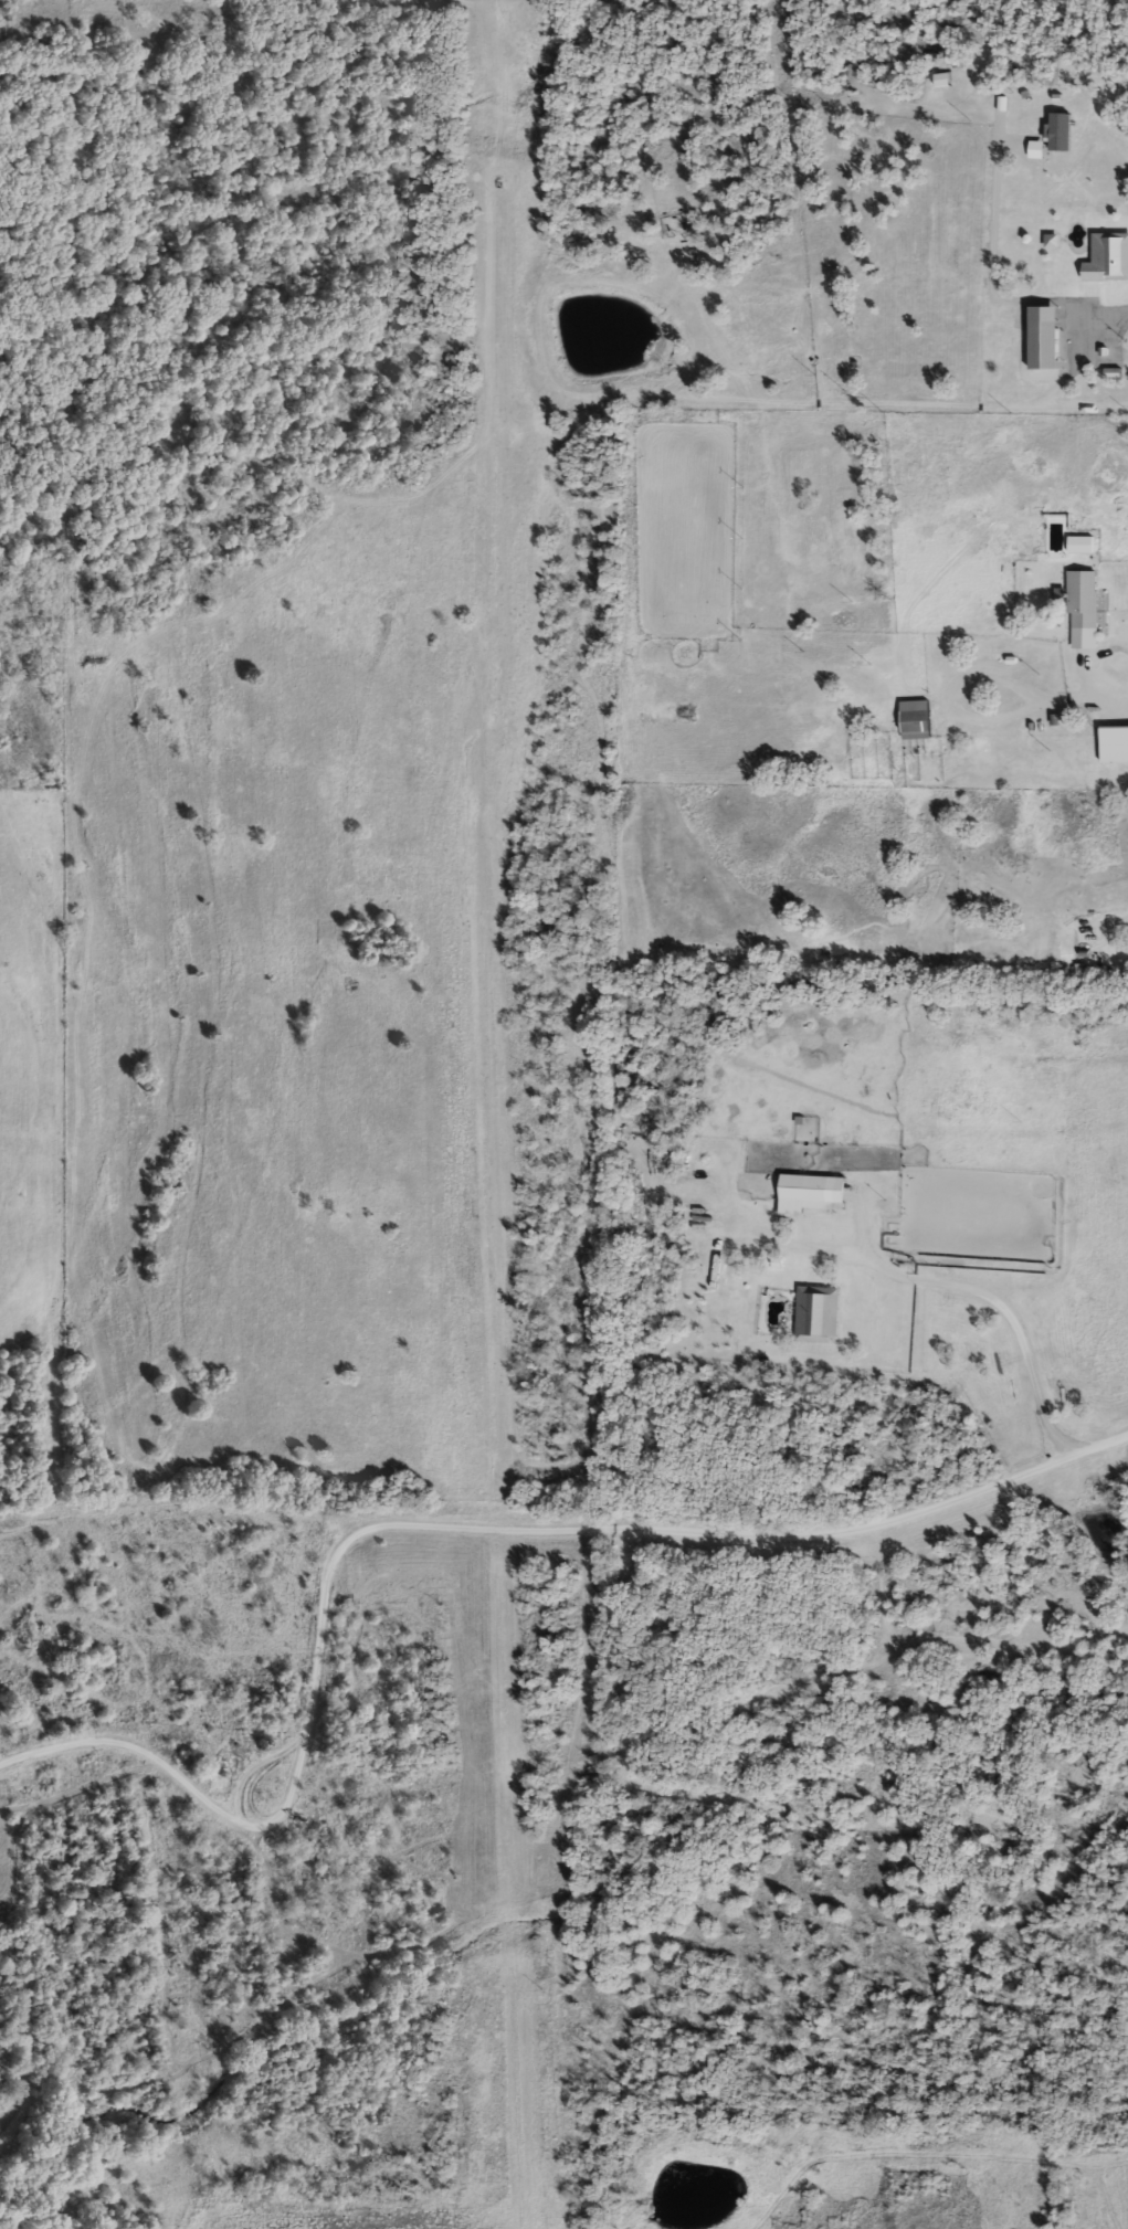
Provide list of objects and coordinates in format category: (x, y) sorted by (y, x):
road: (1114, 317)
building: (1079, 543)
building: (1082, 609)
road: (1110, 690)
building: (915, 723)
building: (1113, 743)
building: (803, 1186)
building: (816, 1313)
road: (1018, 1314)
road: (442, 1528)

